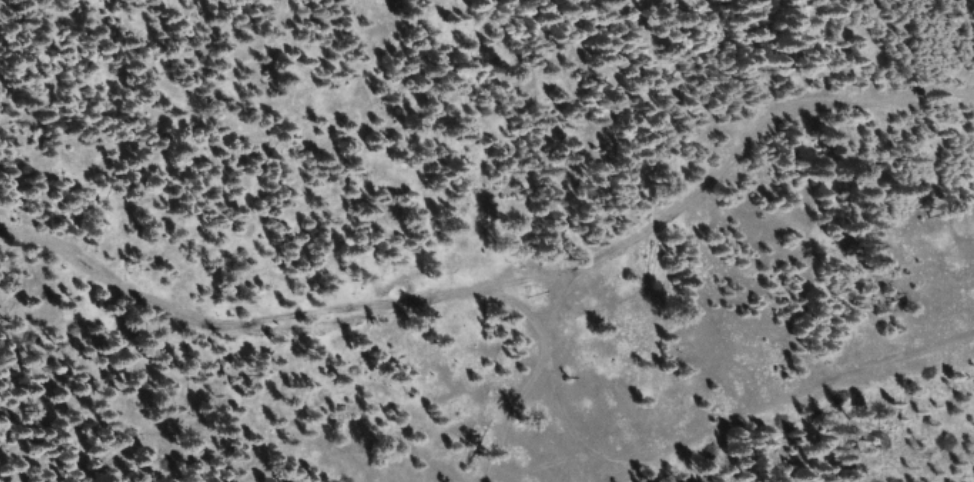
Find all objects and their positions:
road: (679, 353)
road: (96, 430)

